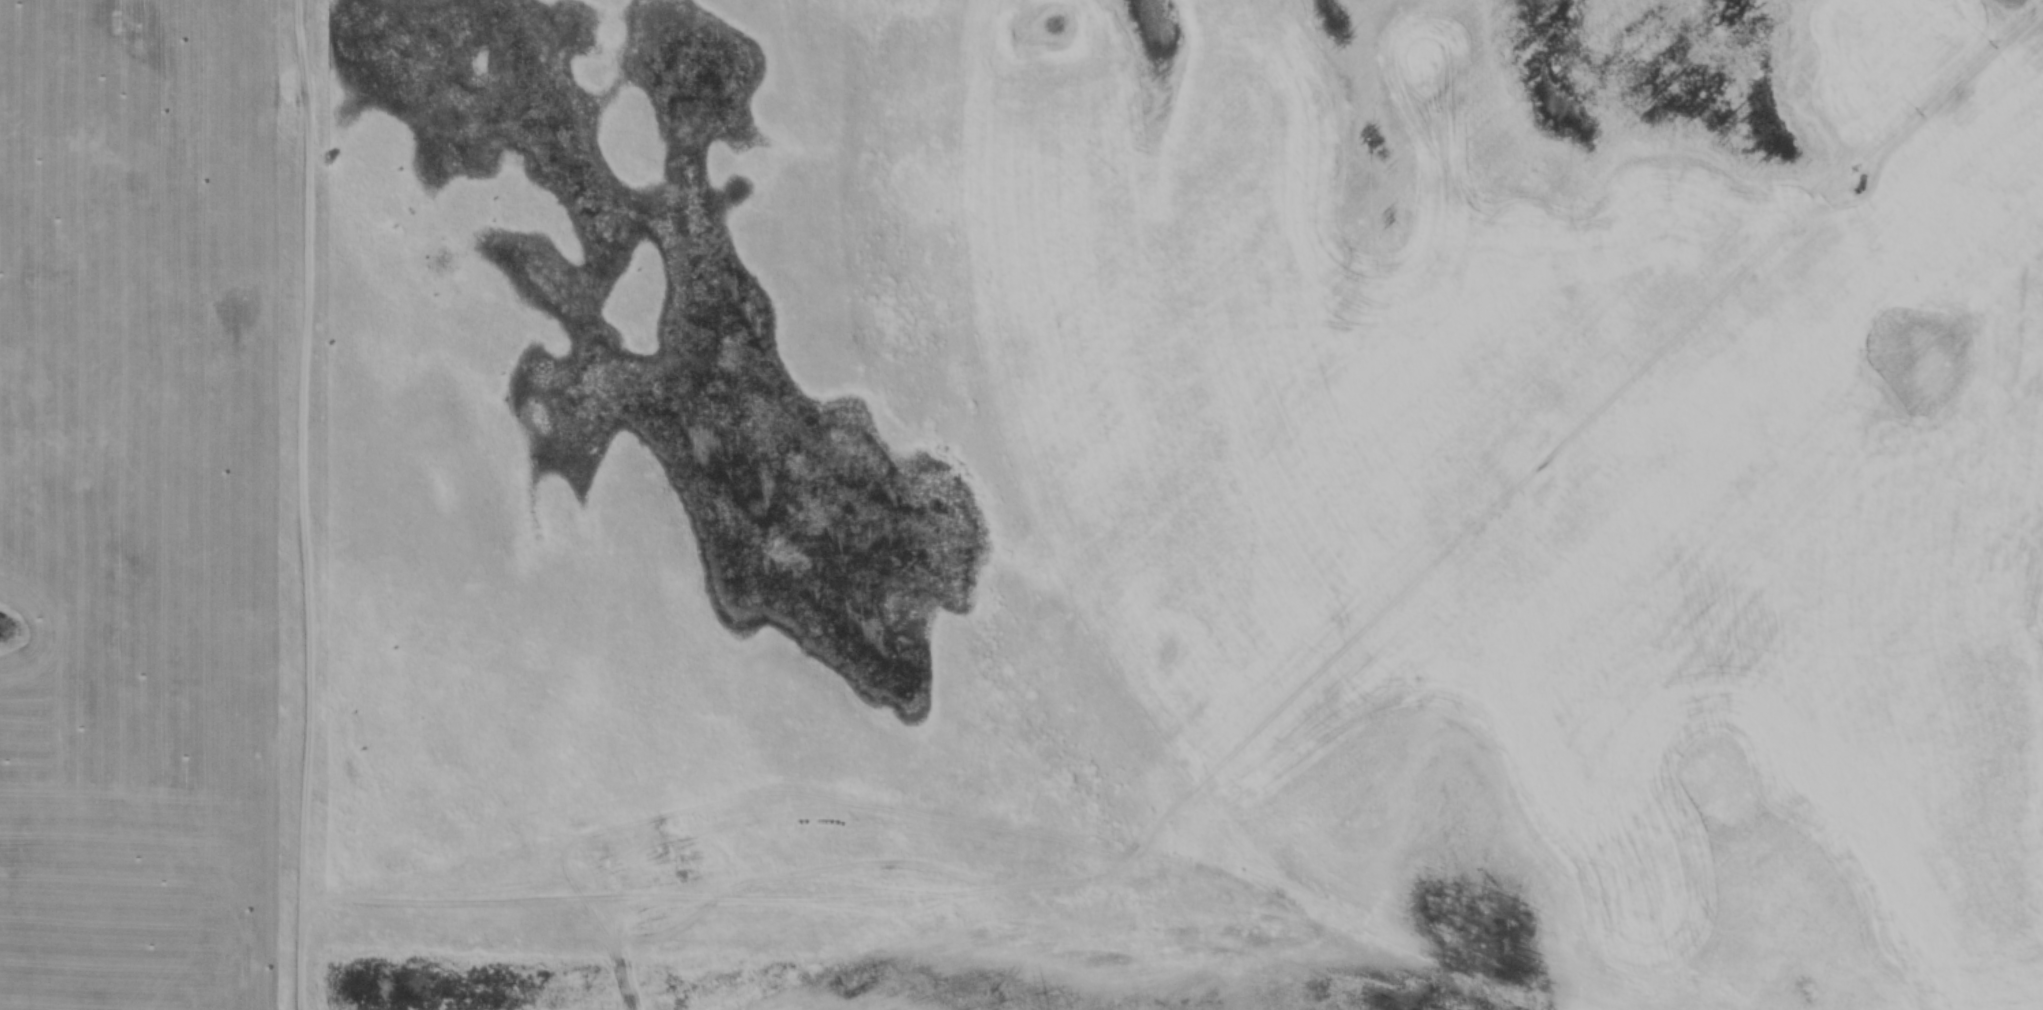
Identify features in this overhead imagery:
road: (300, 505)

